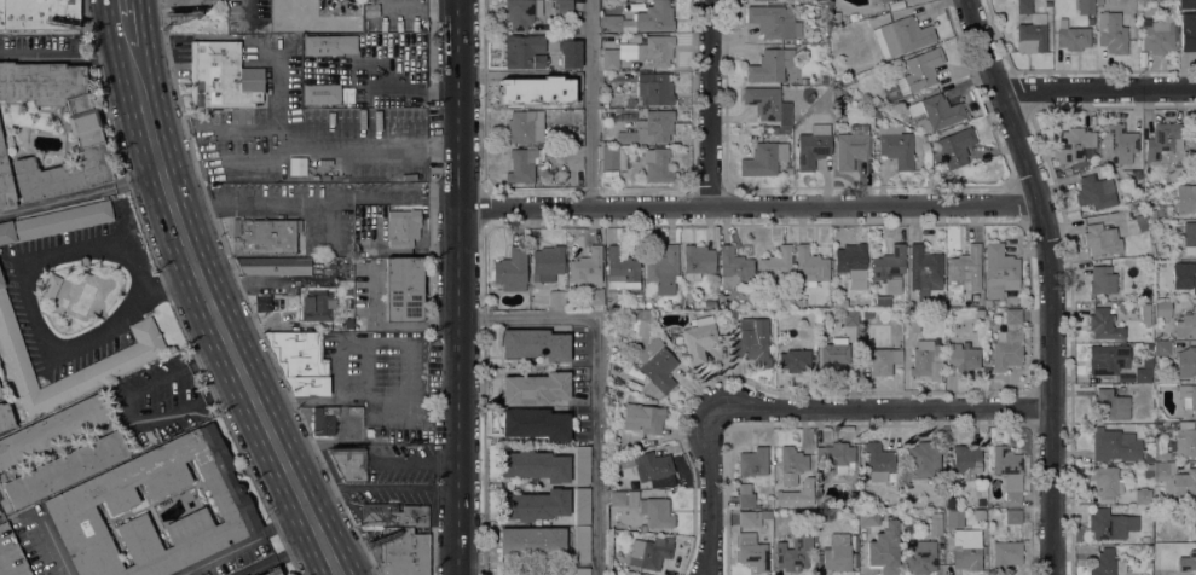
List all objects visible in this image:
building: (763, 0)
building: (879, 1)
building: (1098, 2)
building: (1185, 4)
building: (564, 7)
building: (1086, 7)
road: (248, 11)
building: (521, 12)
building: (39, 14)
building: (313, 17)
building: (640, 19)
building: (774, 22)
building: (1030, 29)
building: (1116, 30)
building: (902, 36)
building: (1157, 37)
building: (1074, 39)
building: (1189, 40)
building: (330, 45)
building: (626, 51)
building: (655, 51)
building: (524, 52)
building: (570, 52)
road: (74, 56)
building: (609, 59)
building: (770, 65)
building: (917, 74)
building: (221, 77)
building: (655, 88)
road: (1098, 89)
building: (536, 91)
building: (836, 93)
building: (320, 94)
building: (640, 100)
building: (874, 100)
road: (591, 104)
building: (605, 104)
road: (709, 104)
building: (768, 105)
building: (934, 112)
road: (219, 127)
building: (522, 128)
building: (649, 128)
building: (83, 133)
building: (1192, 133)
building: (1162, 139)
building: (1122, 143)
road: (380, 144)
building: (813, 145)
building: (1073, 145)
building: (851, 146)
building: (896, 146)
building: (953, 147)
building: (548, 156)
building: (613, 157)
building: (763, 159)
road: (235, 164)
building: (521, 164)
building: (657, 164)
building: (788, 170)
building: (609, 173)
building: (5, 182)
building: (1094, 192)
road: (81, 193)
building: (1185, 198)
road: (291, 203)
building: (1126, 207)
road: (749, 208)
building: (1139, 217)
building: (54, 222)
road: (325, 222)
building: (1142, 226)
building: (403, 227)
building: (264, 236)
building: (1190, 238)
building: (1100, 239)
building: (698, 260)
road: (208, 261)
building: (547, 262)
building: (775, 263)
building: (851, 263)
building: (272, 266)
building: (585, 266)
building: (966, 266)
building: (733, 267)
building: (809, 267)
building: (923, 267)
building: (889, 268)
building: (512, 269)
building: (663, 269)
building: (622, 271)
building: (999, 272)
building: (1184, 275)
road: (1055, 279)
building: (1102, 280)
building: (345, 283)
building: (50, 287)
road: (457, 287)
building: (404, 289)
building: (347, 291)
building: (1178, 294)
road: (187, 295)
building: (593, 296)
building: (639, 296)
building: (556, 298)
building: (883, 301)
building: (799, 302)
building: (840, 302)
building: (262, 303)
building: (987, 303)
building: (314, 306)
building: (683, 306)
building: (676, 307)
building: (1144, 307)
building: (1162, 308)
building: (947, 310)
building: (980, 313)
building: (733, 314)
building: (867, 314)
road: (34, 315)
building: (646, 315)
building: (850, 318)
building: (348, 324)
building: (911, 324)
building: (1103, 324)
building: (1186, 325)
building: (642, 327)
building: (699, 339)
building: (1007, 342)
building: (755, 343)
building: (535, 344)
building: (144, 347)
building: (1162, 348)
building: (833, 354)
building: (963, 356)
building: (1107, 359)
building: (795, 360)
building: (880, 360)
building: (926, 360)
building: (300, 361)
building: (1186, 362)
building: (1149, 364)
building: (655, 370)
building: (631, 372)
building: (1142, 374)
road: (599, 377)
building: (632, 387)
building: (535, 388)
building: (0, 395)
building: (1188, 396)
building: (1109, 405)
building: (354, 410)
road: (883, 412)
building: (640, 414)
building: (5, 418)
building: (323, 420)
building: (535, 424)
building: (52, 429)
building: (368, 432)
building: (622, 437)
building: (1185, 440)
building: (634, 445)
building: (1115, 446)
building: (1160, 451)
building: (837, 457)
building: (964, 459)
building: (878, 460)
building: (923, 460)
building: (752, 463)
building: (348, 464)
building: (582, 464)
building: (793, 464)
building: (535, 465)
building: (653, 467)
building: (64, 469)
building: (1009, 474)
building: (1177, 481)
building: (618, 483)
building: (1105, 483)
road: (403, 492)
road: (330, 493)
road: (711, 494)
building: (745, 495)
building: (1142, 496)
building: (93, 498)
building: (809, 501)
building: (981, 503)
building: (836, 504)
building: (532, 505)
building: (582, 507)
building: (646, 509)
building: (0, 513)
building: (393, 515)
building: (980, 515)
building: (752, 517)
building: (867, 517)
building: (1012, 517)
building: (1194, 518)
building: (935, 523)
building: (1110, 524)
building: (1145, 539)
road: (249, 540)
road: (339, 541)
building: (531, 541)
building: (854, 541)
building: (964, 542)
building: (582, 545)
road: (51, 547)
building: (884, 548)
building: (403, 551)
building: (752, 552)
building: (649, 553)
building: (793, 553)
building: (837, 553)
building: (10, 554)
building: (1005, 554)
building: (921, 558)
building: (1188, 562)
building: (1107, 564)
building: (271, 571)
building: (582, 571)
building: (1157, 571)

